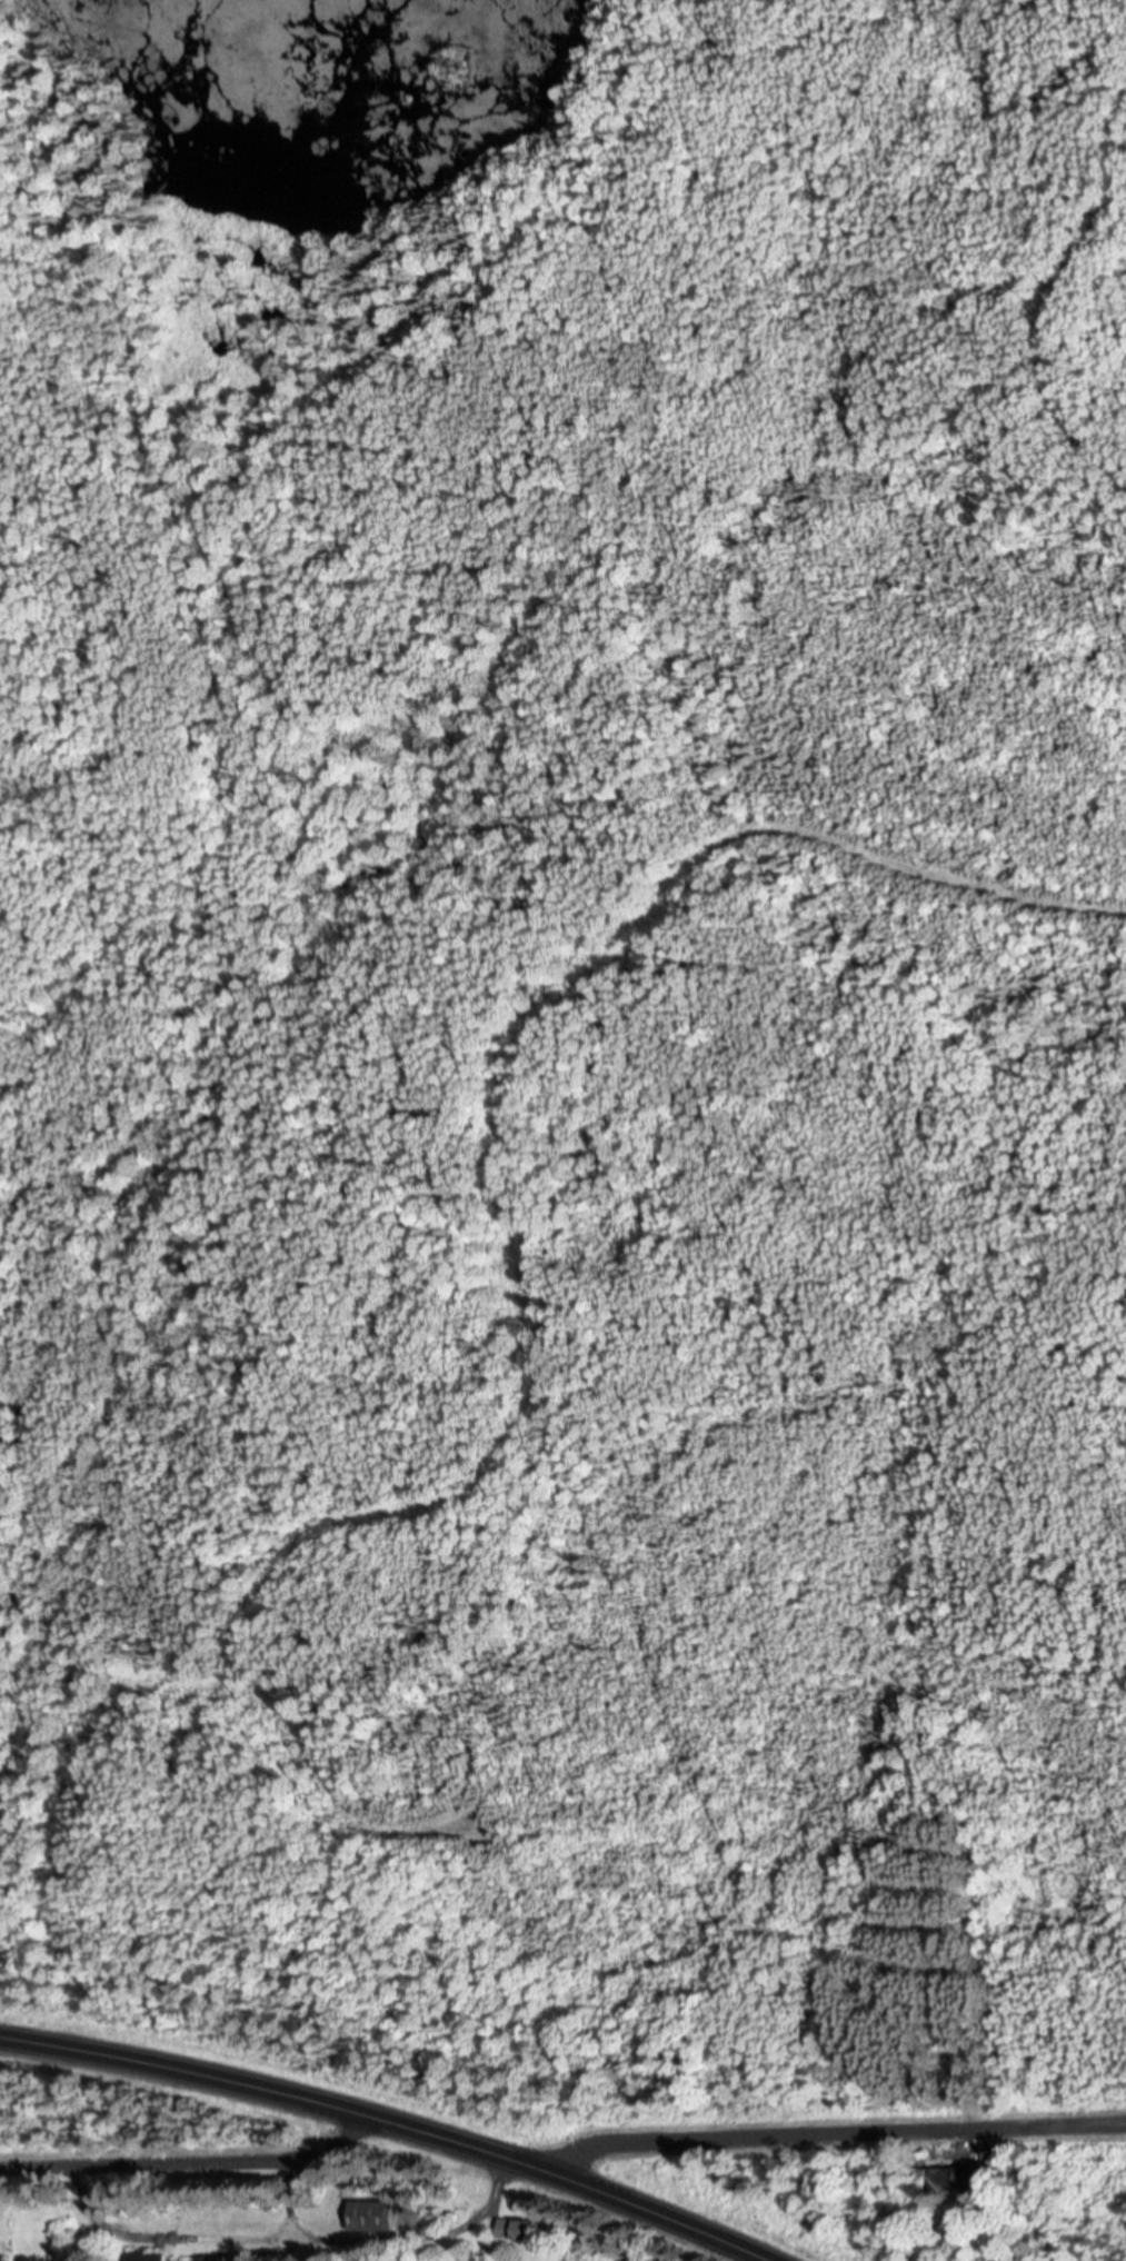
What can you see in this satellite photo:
road: (399, 2121)
road: (833, 2131)
road: (193, 2160)
building: (963, 2177)
building: (379, 2213)
building: (521, 2225)
building: (155, 2254)
building: (7, 2258)

